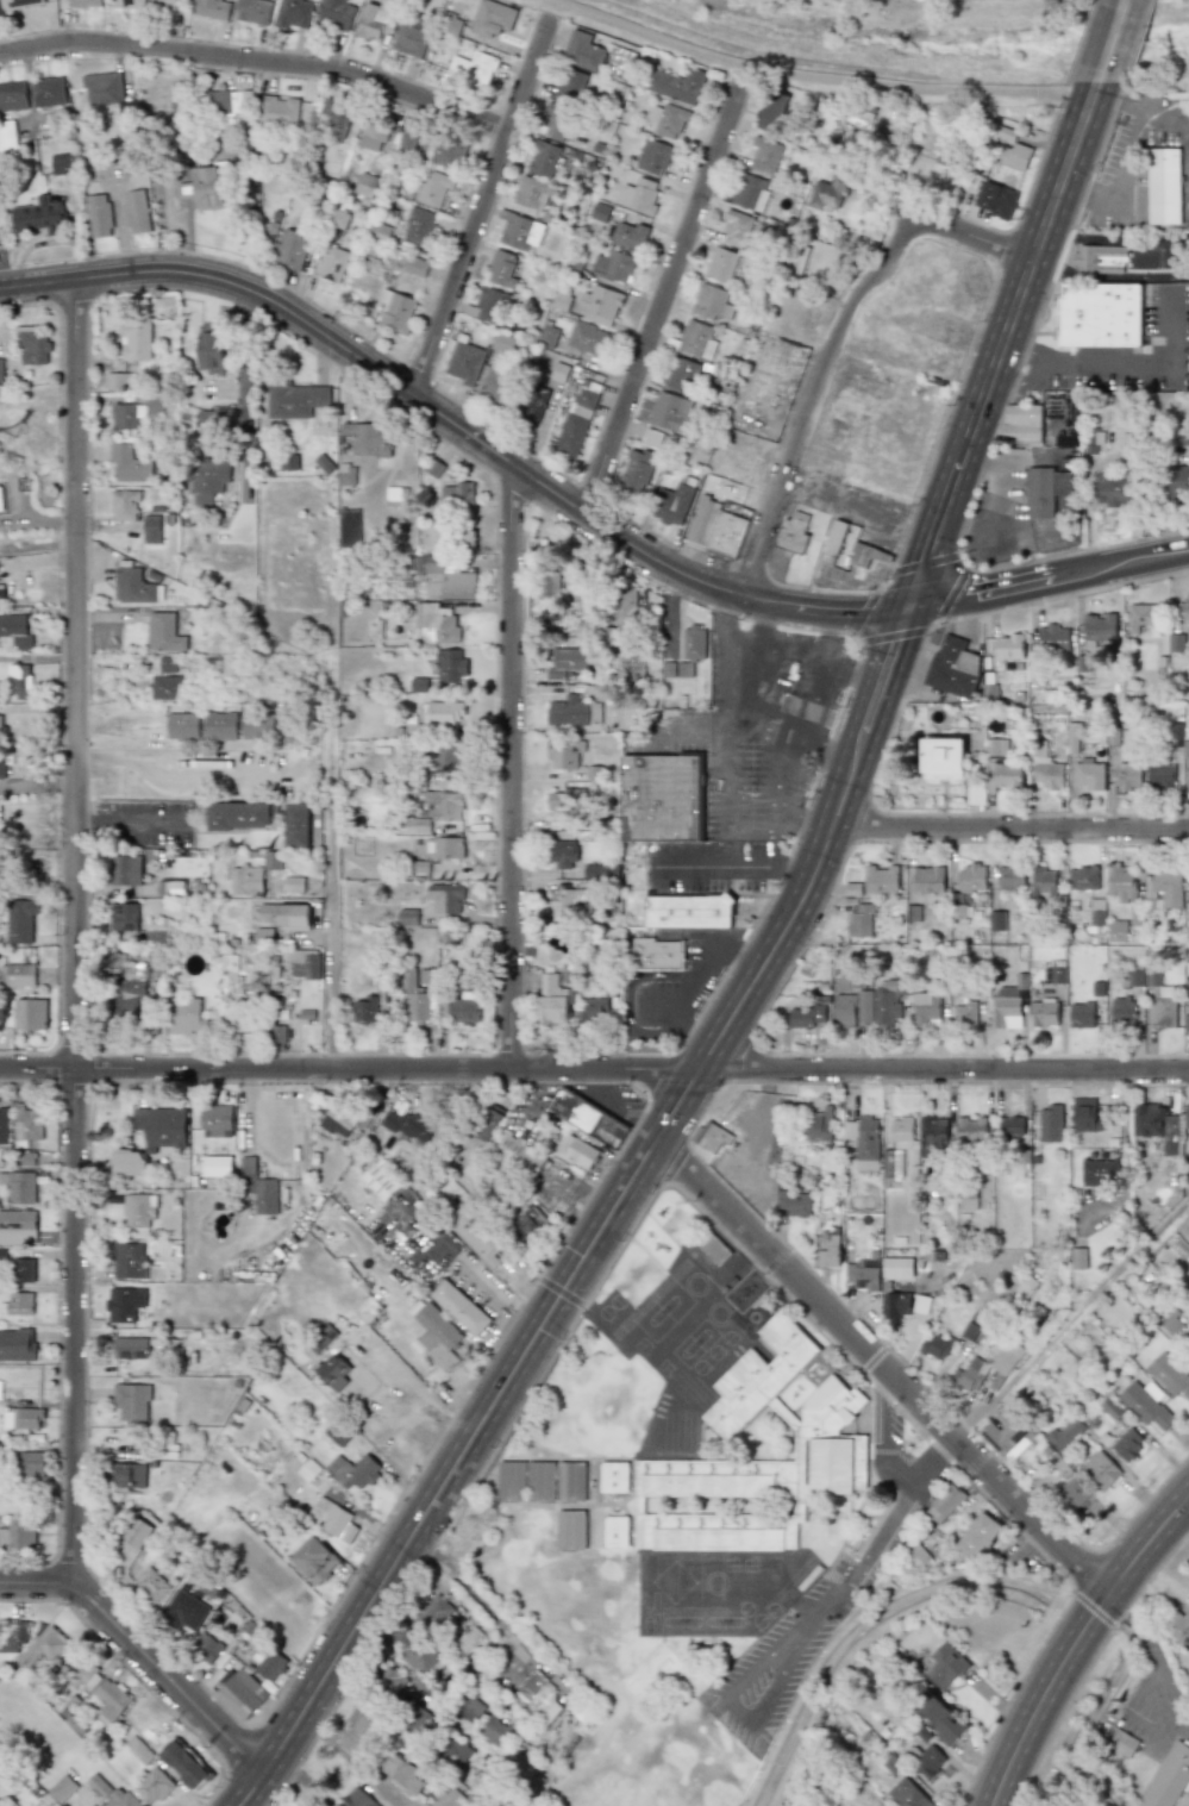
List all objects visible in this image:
building: (19, 4)
building: (85, 4)
building: (127, 4)
building: (164, 4)
building: (213, 8)
building: (254, 11)
building: (294, 13)
building: (337, 14)
building: (377, 19)
building: (492, 19)
building: (451, 26)
building: (412, 37)
road: (1109, 40)
building: (583, 51)
road: (258, 58)
building: (473, 69)
road: (811, 77)
building: (677, 85)
building: (569, 86)
building: (104, 88)
building: (48, 92)
building: (12, 96)
building: (227, 104)
building: (277, 110)
road: (1147, 110)
building: (771, 112)
building: (857, 115)
building: (336, 119)
building: (667, 120)
building: (557, 121)
building: (373, 136)
building: (7, 138)
building: (406, 142)
building: (446, 155)
building: (765, 155)
building: (1016, 155)
building: (653, 157)
building: (543, 158)
building: (950, 160)
building: (63, 163)
road: (1127, 175)
building: (365, 185)
building: (1164, 186)
building: (208, 187)
building: (747, 192)
road: (1071, 192)
building: (533, 193)
building: (828, 193)
building: (639, 195)
road: (482, 198)
building: (995, 199)
building: (137, 211)
building: (601, 212)
building: (99, 215)
building: (39, 217)
building: (419, 225)
building: (739, 230)
building: (520, 233)
building: (630, 236)
building: (292, 249)
building: (1100, 258)
building: (333, 264)
building: (721, 264)
building: (614, 265)
building: (417, 267)
building: (502, 269)
road: (659, 300)
building: (712, 302)
building: (488, 305)
building: (600, 305)
building: (396, 311)
building: (1100, 315)
building: (587, 338)
building: (136, 339)
building: (697, 339)
building: (502, 343)
road: (999, 343)
road: (834, 344)
building: (32, 345)
building: (209, 348)
road: (1014, 350)
building: (464, 362)
road: (1141, 365)
building: (0, 370)
building: (683, 375)
building: (120, 381)
building: (495, 387)
building: (294, 400)
building: (532, 404)
road: (244, 410)
building: (134, 412)
building: (669, 412)
building: (215, 420)
road: (456, 424)
building: (1020, 424)
building: (576, 425)
building: (368, 438)
building: (1094, 442)
power tower: (32, 452)
road: (1012, 455)
road: (826, 462)
building: (129, 464)
building: (636, 471)
building: (206, 480)
building: (1179, 481)
building: (1045, 490)
building: (1112, 490)
building: (458, 494)
building: (671, 504)
building: (125, 505)
road: (857, 512)
building: (349, 527)
building: (715, 527)
building: (151, 529)
road: (995, 530)
building: (793, 532)
building: (838, 537)
building: (468, 540)
road: (39, 551)
building: (869, 556)
building: (443, 579)
building: (547, 580)
building: (576, 581)
road: (1047, 581)
building: (132, 586)
building: (1, 590)
building: (625, 607)
building: (1184, 610)
building: (1141, 617)
building: (437, 623)
building: (1099, 629)
building: (14, 632)
building: (164, 633)
building: (1053, 638)
building: (1175, 643)
building: (1009, 648)
building: (688, 654)
road: (722, 660)
building: (567, 662)
building: (168, 664)
building: (451, 667)
building: (953, 667)
building: (18, 681)
building: (167, 687)
building: (989, 692)
building: (574, 712)
building: (444, 713)
building: (0, 725)
building: (219, 725)
building: (257, 725)
building: (284, 725)
building: (182, 726)
road: (726, 727)
building: (1072, 738)
road: (831, 744)
building: (996, 746)
building: (1185, 749)
building: (564, 754)
building: (450, 757)
building: (943, 758)
road: (139, 765)
road: (512, 767)
building: (1045, 767)
building: (1, 768)
building: (1003, 776)
building: (1088, 776)
building: (1127, 776)
building: (1160, 777)
road: (777, 781)
road: (39, 785)
building: (975, 792)
road: (722, 796)
building: (662, 798)
building: (567, 801)
building: (443, 805)
building: (238, 815)
building: (296, 825)
road: (802, 825)
road: (1010, 829)
road: (130, 831)
road: (750, 832)
road: (331, 838)
building: (448, 848)
building: (562, 854)
building: (271, 860)
road: (732, 868)
building: (126, 870)
building: (601, 871)
road: (520, 877)
building: (1083, 877)
building: (971, 879)
building: (1010, 879)
building: (245, 880)
building: (881, 880)
building: (928, 880)
building: (1043, 881)
building: (1121, 883)
building: (293, 885)
building: (1164, 887)
building: (446, 898)
building: (569, 904)
building: (688, 911)
building: (1097, 912)
building: (283, 916)
building: (124, 917)
building: (407, 918)
building: (20, 920)
building: (996, 920)
building: (861, 921)
building: (157, 930)
road: (77, 931)
building: (1116, 931)
road: (722, 936)
road: (747, 946)
building: (657, 954)
road: (690, 955)
building: (303, 963)
building: (17, 975)
building: (1055, 975)
building: (425, 976)
building: (1152, 977)
building: (1134, 979)
building: (857, 980)
building: (465, 983)
power tower: (255, 986)
building: (1187, 986)
building: (234, 991)
road: (627, 991)
building: (127, 993)
building: (553, 999)
building: (415, 1000)
road: (687, 1000)
building: (1008, 1004)
building: (886, 1006)
building: (1165, 1006)
building: (593, 1008)
building: (364, 1010)
building: (844, 1010)
building: (926, 1010)
building: (1122, 1010)
building: (464, 1011)
building: (1044, 1013)
building: (30, 1014)
building: (965, 1014)
building: (1081, 1014)
building: (183, 1016)
building: (806, 1017)
road: (688, 1032)
building: (276, 1037)
road: (594, 1070)
road: (617, 1106)
building: (1085, 1116)
building: (1187, 1116)
building: (589, 1118)
building: (217, 1119)
building: (488, 1121)
building: (27, 1123)
building: (338, 1123)
building: (818, 1124)
building: (1050, 1124)
building: (4, 1125)
building: (1156, 1125)
building: (411, 1126)
building: (1010, 1126)
building: (161, 1127)
building: (902, 1129)
building: (971, 1130)
building: (933, 1136)
building: (712, 1137)
building: (863, 1141)
building: (578, 1151)
building: (520, 1155)
building: (129, 1162)
building: (891, 1164)
building: (218, 1167)
building: (1100, 1171)
building: (381, 1181)
building: (21, 1188)
building: (258, 1188)
building: (795, 1204)
road: (696, 1207)
building: (138, 1211)
road: (601, 1221)
building: (528, 1223)
building: (18, 1227)
building: (477, 1233)
building: (828, 1248)
building: (2, 1255)
building: (1078, 1258)
building: (129, 1261)
building: (897, 1269)
building: (24, 1270)
road: (480, 1276)
building: (863, 1276)
building: (1026, 1287)
building: (18, 1304)
building: (124, 1304)
building: (895, 1305)
building: (921, 1305)
building: (461, 1307)
building: (1171, 1325)
building: (437, 1336)
building: (321, 1338)
building: (17, 1345)
building: (937, 1346)
building: (130, 1348)
road: (877, 1364)
building: (988, 1366)
building: (334, 1371)
building: (1170, 1374)
building: (0, 1386)
building: (132, 1401)
building: (1146, 1404)
building: (1110, 1408)
building: (21, 1418)
building: (818, 1430)
building: (338, 1433)
building: (1064, 1433)
building: (1007, 1435)
building: (1127, 1444)
road: (953, 1454)
building: (30, 1463)
building: (1100, 1470)
building: (353, 1471)
building: (126, 1475)
building: (614, 1477)
building: (512, 1481)
building: (542, 1481)
building: (571, 1481)
building: (1074, 1493)
road: (1184, 1501)
building: (945, 1504)
building: (337, 1521)
power tower: (493, 1525)
building: (571, 1530)
building: (617, 1531)
building: (136, 1532)
building: (18, 1535)
building: (977, 1537)
building: (915, 1555)
building: (315, 1560)
building: (150, 1585)
road: (478, 1600)
building: (184, 1611)
building: (433, 1613)
building: (1178, 1627)
building: (251, 1632)
road: (1070, 1636)
building: (12, 1638)
building: (469, 1639)
building: (44, 1646)
building: (206, 1648)
building: (414, 1650)
road: (1152, 1650)
road: (142, 1652)
road: (769, 1658)
building: (268, 1661)
building: (945, 1666)
building: (82, 1676)
building: (392, 1679)
building: (242, 1693)
building: (538, 1698)
building: (109, 1701)
building: (470, 1710)
road: (741, 1711)
building: (939, 1718)
road: (1158, 1718)
building: (362, 1730)
building: (496, 1731)
building: (1120, 1742)
building: (139, 1750)
building: (457, 1751)
road: (350, 1760)
building: (930, 1762)
building: (402, 1773)
road: (300, 1777)
building: (1169, 1777)
building: (154, 1786)
building: (62, 1788)
building: (112, 1793)
building: (908, 1794)
building: (357, 1799)
building: (450, 1799)
building: (0, 1805)

